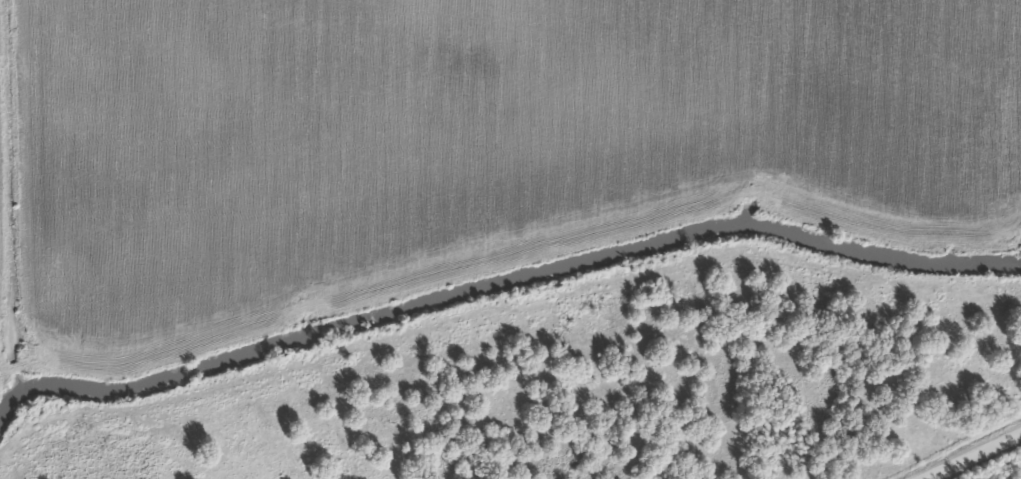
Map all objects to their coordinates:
road: (969, 449)

